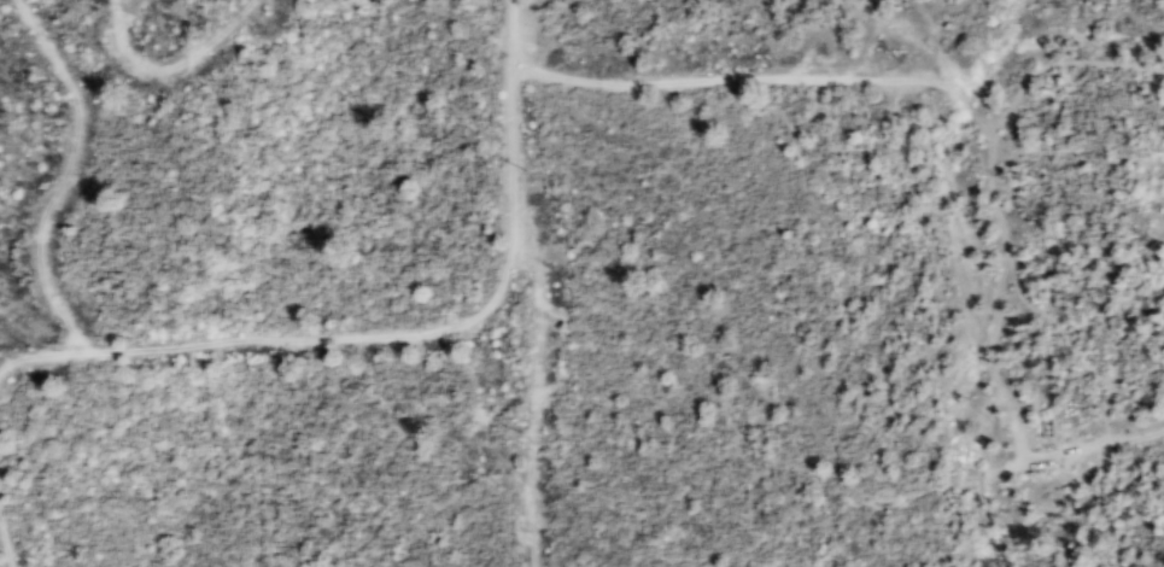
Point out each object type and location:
road: (522, 63)
road: (171, 65)
road: (525, 74)
road: (776, 77)
road: (64, 174)
road: (440, 327)
road: (37, 355)
road: (533, 399)
road: (919, 491)
road: (5, 544)

